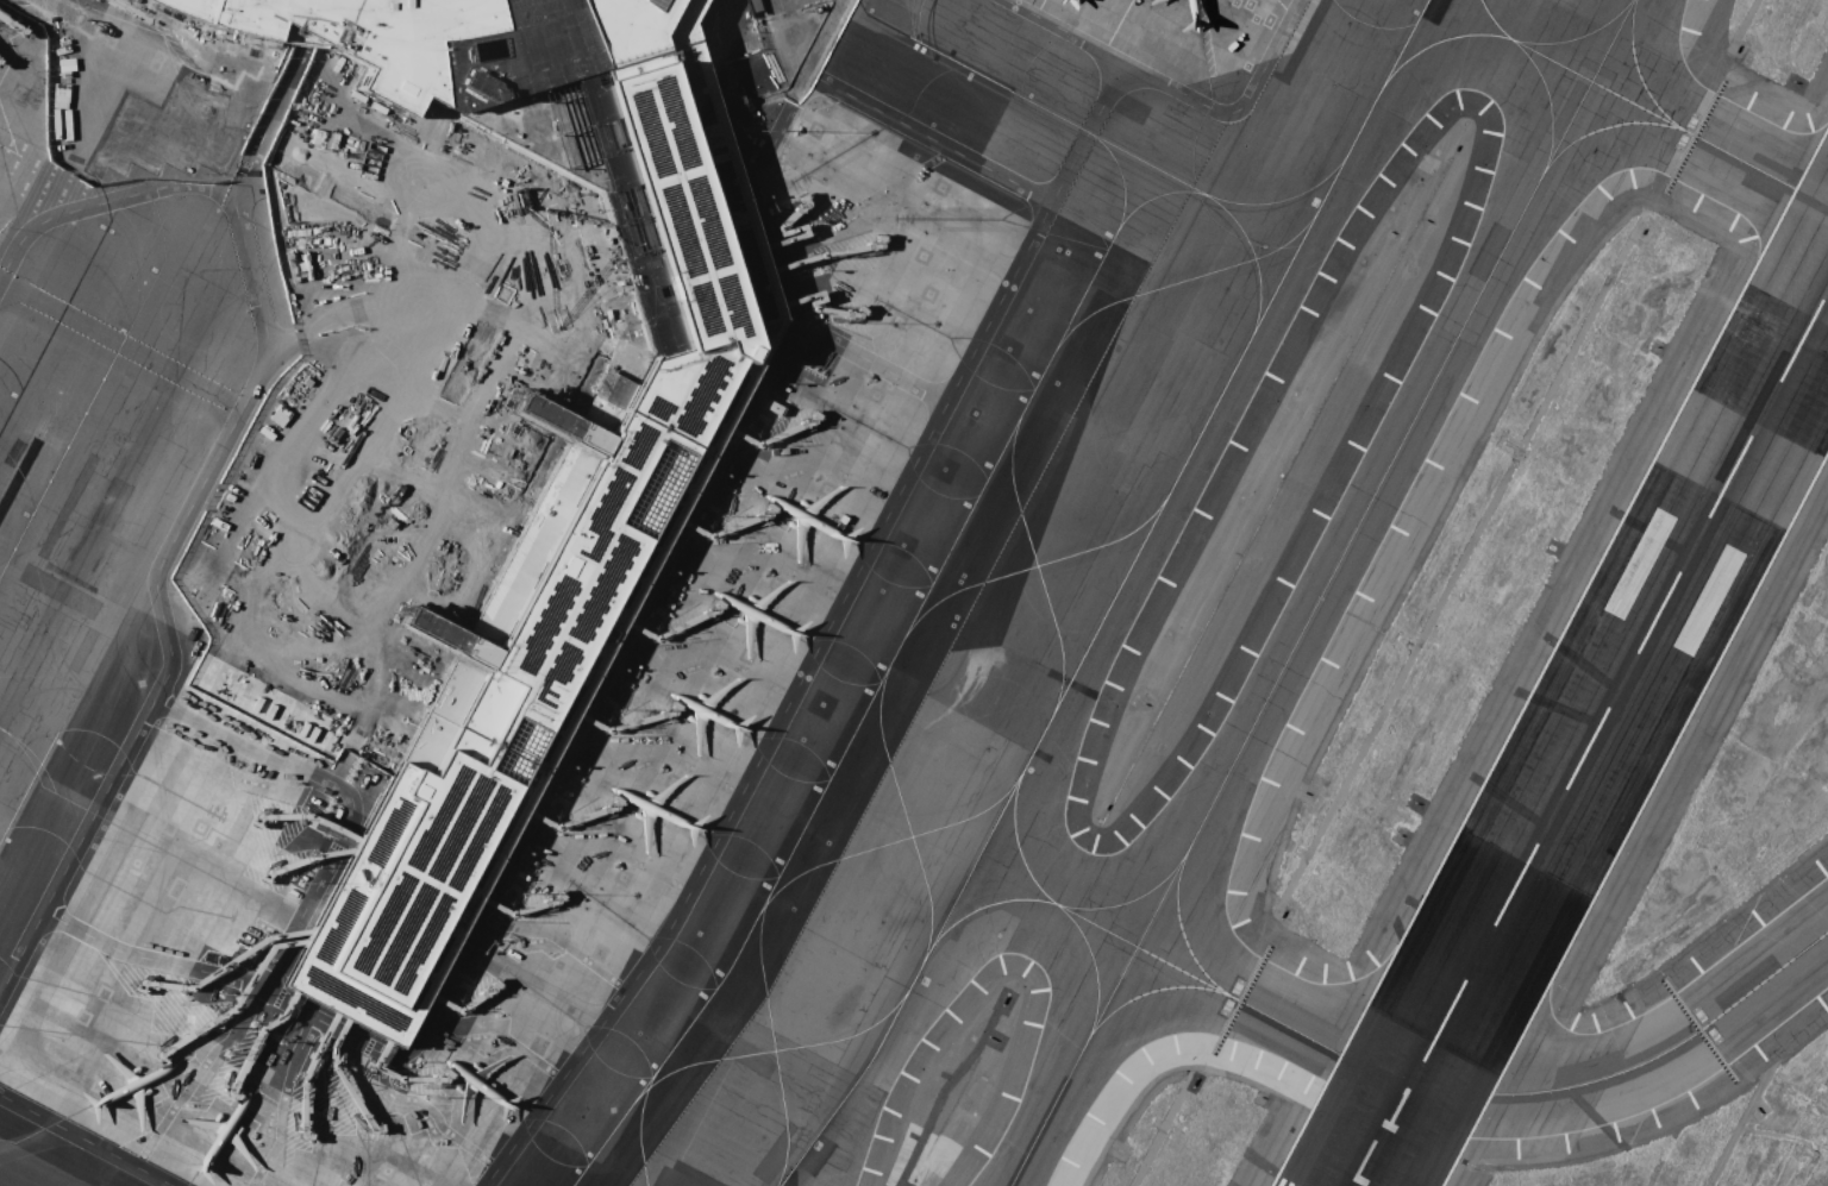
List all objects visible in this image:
airport apron: (1189, 30)
road: (1062, 31)
airport taxiway: (1577, 37)
airport apron: (89, 88)
airport taxiway: (1605, 88)
road: (1235, 103)
airport taxiway: (1589, 132)
airport taxiway: (1101, 136)
road: (959, 153)
airport taxiway: (1162, 190)
airport taxiway: (1283, 197)
road: (868, 360)
airport taxiway: (43, 429)
airport taxiway: (63, 447)
building: (531, 469)
road: (270, 483)
airport terminal: (599, 520)
building: (599, 520)
airport: (914, 592)
airport taxiway: (1322, 594)
airport taxiway: (1110, 598)
airport apron: (463, 630)
airport taxiway: (99, 640)
airport taxiway: (887, 677)
road: (785, 704)
airport runway: (1591, 735)
road: (562, 753)
airport taxiway: (1128, 899)
airport taxiway: (1182, 931)
airport taxiway: (1093, 961)
road: (0, 987)
airport taxiway: (1376, 1068)
road: (83, 1141)

